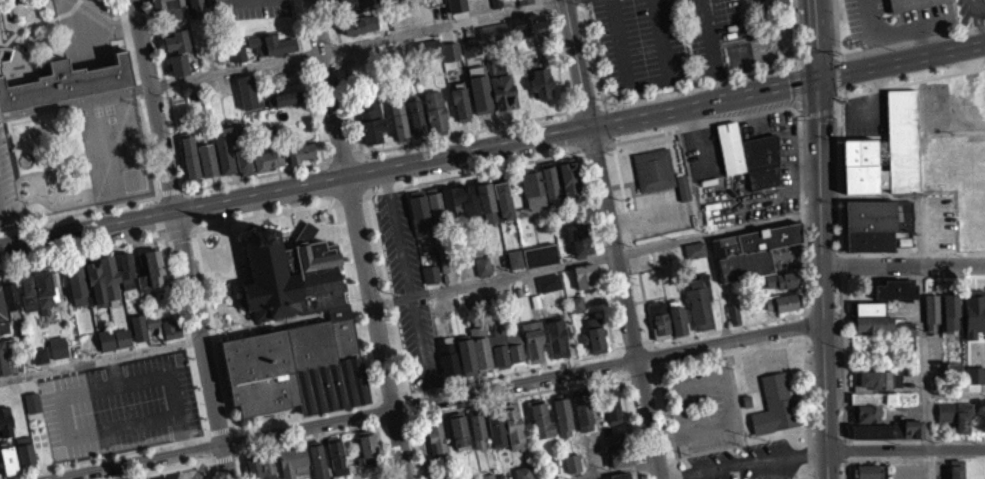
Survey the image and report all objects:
building: (233, 1)
building: (524, 1)
road: (78, 2)
building: (212, 2)
building: (352, 3)
building: (497, 3)
building: (772, 3)
building: (908, 3)
building: (982, 3)
road: (983, 3)
road: (21, 4)
road: (978, 5)
building: (171, 7)
building: (197, 7)
parking lot: (970, 11)
road: (67, 16)
parking lot: (893, 18)
road: (921, 22)
road: (979, 22)
road: (97, 23)
building: (361, 23)
building: (526, 24)
road: (440, 25)
road: (882, 29)
road: (23, 30)
building: (493, 30)
building: (358, 32)
road: (663, 38)
building: (492, 39)
parking lot: (663, 39)
building: (176, 40)
road: (818, 40)
building: (270, 43)
road: (125, 45)
road: (884, 45)
building: (430, 47)
road: (713, 50)
road: (593, 51)
building: (237, 52)
building: (268, 52)
building: (426, 56)
road: (837, 56)
building: (449, 58)
road: (556, 58)
building: (236, 61)
road: (901, 62)
building: (179, 63)
road: (578, 64)
road: (795, 66)
road: (234, 71)
road: (837, 71)
building: (177, 72)
road: (732, 77)
building: (540, 79)
road: (308, 80)
road: (911, 80)
traffic signals: (819, 82)
building: (500, 84)
road: (629, 84)
building: (55, 86)
road: (797, 88)
road: (134, 95)
road: (163, 95)
building: (477, 95)
building: (285, 97)
building: (461, 100)
road: (601, 103)
road: (705, 104)
parking lot: (935, 105)
building: (283, 106)
road: (605, 106)
road: (73, 107)
road: (586, 107)
road: (835, 107)
building: (435, 109)
road: (798, 110)
road: (78, 112)
road: (818, 112)
road: (567, 113)
parking lot: (863, 113)
building: (399, 114)
road: (802, 116)
building: (417, 117)
road: (39, 121)
building: (373, 121)
road: (608, 122)
road: (4, 124)
building: (397, 127)
traffic signals: (592, 129)
road: (570, 130)
road: (612, 139)
road: (609, 144)
building: (730, 146)
building: (225, 147)
road: (388, 147)
road: (573, 147)
road: (593, 147)
building: (243, 149)
building: (886, 149)
road: (578, 150)
building: (300, 151)
road: (29, 153)
road: (357, 154)
building: (189, 155)
road: (362, 156)
building: (267, 157)
building: (208, 158)
road: (341, 158)
building: (761, 159)
building: (299, 160)
road: (327, 161)
road: (324, 164)
road: (74, 165)
building: (265, 167)
building: (654, 168)
building: (242, 169)
road: (471, 171)
road: (365, 172)
road: (255, 175)
building: (569, 176)
building: (551, 178)
road: (327, 180)
parking lot: (7, 185)
road: (66, 186)
building: (683, 186)
building: (532, 187)
road: (369, 189)
road: (295, 191)
road: (187, 192)
road: (802, 193)
road: (186, 194)
building: (681, 195)
road: (171, 196)
road: (331, 196)
road: (871, 196)
road: (350, 197)
building: (486, 198)
building: (503, 198)
road: (156, 199)
road: (335, 199)
building: (460, 201)
building: (435, 203)
road: (152, 206)
road: (127, 208)
road: (191, 209)
building: (419, 211)
parking lot: (659, 212)
building: (878, 214)
parking lot: (941, 221)
road: (259, 222)
road: (155, 223)
road: (193, 226)
road: (293, 228)
road: (191, 230)
road: (922, 230)
road: (719, 232)
building: (868, 233)
road: (178, 234)
road: (294, 234)
road: (233, 235)
street lamp: (149, 238)
building: (581, 238)
road: (158, 239)
road: (176, 239)
road: (358, 239)
road: (166, 240)
road: (840, 240)
road: (150, 245)
building: (695, 248)
road: (634, 249)
building: (751, 249)
road: (151, 250)
road: (594, 250)
road: (94, 251)
road: (80, 252)
road: (111, 253)
building: (540, 253)
road: (130, 255)
road: (152, 255)
road: (98, 256)
road: (92, 257)
road: (112, 257)
building: (693, 257)
road: (117, 258)
building: (446, 258)
road: (38, 259)
road: (113, 259)
street lamp: (42, 260)
road: (75, 260)
building: (499, 260)
road: (99, 261)
building: (538, 262)
road: (39, 263)
road: (93, 265)
building: (483, 265)
road: (904, 265)
building: (513, 266)
road: (824, 266)
road: (18, 267)
road: (114, 267)
road: (242, 267)
road: (41, 268)
road: (76, 268)
road: (230, 271)
road: (41, 272)
building: (431, 272)
building: (291, 273)
road: (6, 274)
building: (481, 274)
building: (585, 274)
road: (19, 275)
road: (42, 275)
building: (123, 275)
road: (913, 275)
building: (149, 277)
road: (494, 278)
building: (782, 278)
road: (20, 280)
building: (429, 281)
building: (548, 281)
building: (106, 283)
road: (173, 285)
road: (166, 286)
road: (8, 287)
building: (92, 287)
road: (161, 287)
parking lot: (408, 287)
road: (408, 287)
building: (780, 287)
building: (74, 288)
building: (895, 288)
building: (518, 290)
building: (547, 290)
building: (42, 296)
building: (25, 297)
building: (893, 297)
building: (699, 299)
building: (7, 300)
building: (535, 300)
building: (782, 300)
building: (576, 302)
road: (627, 303)
road: (236, 305)
road: (223, 306)
road: (393, 306)
building: (866, 307)
building: (780, 310)
building: (574, 311)
building: (951, 311)
building: (733, 312)
building: (933, 312)
building: (1, 318)
building: (659, 318)
building: (677, 318)
road: (174, 320)
building: (732, 321)
building: (871, 323)
building: (973, 323)
road: (805, 324)
building: (907, 327)
building: (149, 328)
road: (182, 328)
road: (179, 329)
road: (174, 330)
building: (136, 333)
building: (3, 334)
building: (168, 334)
building: (556, 334)
building: (593, 334)
building: (906, 336)
road: (801, 337)
building: (533, 338)
road: (732, 340)
building: (119, 343)
building: (103, 345)
building: (498, 346)
building: (480, 347)
building: (515, 347)
road: (634, 347)
road: (184, 350)
road: (140, 352)
building: (55, 353)
building: (466, 353)
building: (448, 355)
road: (924, 356)
road: (122, 357)
road: (181, 357)
road: (106, 360)
building: (37, 361)
road: (72, 361)
road: (657, 361)
building: (5, 363)
building: (297, 366)
road: (99, 367)
road: (649, 367)
building: (954, 367)
road: (59, 369)
road: (119, 369)
road: (630, 371)
road: (512, 372)
road: (42, 374)
building: (973, 376)
building: (875, 378)
road: (49, 384)
road: (103, 385)
road: (26, 390)
road: (160, 391)
road: (528, 392)
road: (955, 393)
road: (725, 394)
building: (871, 396)
road: (371, 401)
road: (428, 402)
parking lot: (703, 406)
building: (29, 408)
building: (775, 409)
building: (945, 410)
building: (866, 411)
building: (611, 412)
road: (846, 415)
building: (582, 416)
building: (963, 416)
building: (865, 421)
road: (669, 422)
building: (561, 424)
road: (630, 426)
building: (4, 428)
building: (540, 428)
building: (889, 429)
road: (743, 431)
road: (72, 433)
road: (229, 433)
building: (512, 433)
road: (216, 435)
road: (418, 435)
road: (106, 437)
building: (495, 437)
road: (199, 438)
road: (204, 438)
building: (476, 438)
building: (874, 438)
building: (457, 440)
road: (179, 441)
road: (170, 445)
road: (200, 445)
building: (435, 448)
road: (847, 448)
road: (905, 449)
road: (202, 453)
building: (366, 453)
building: (22, 456)
road: (916, 456)
road: (141, 457)
parking lot: (742, 462)
building: (335, 463)
building: (616, 464)
road: (746, 464)
road: (149, 465)
building: (316, 465)
road: (827, 465)
building: (7, 466)
building: (291, 467)
road: (847, 468)
road: (50, 469)
road: (612, 469)
building: (571, 470)
road: (30, 471)
building: (259, 471)
building: (871, 471)
building: (954, 475)
road: (31, 476)
road: (50, 476)
building: (521, 476)
road: (9, 478)
building: (632, 478)

